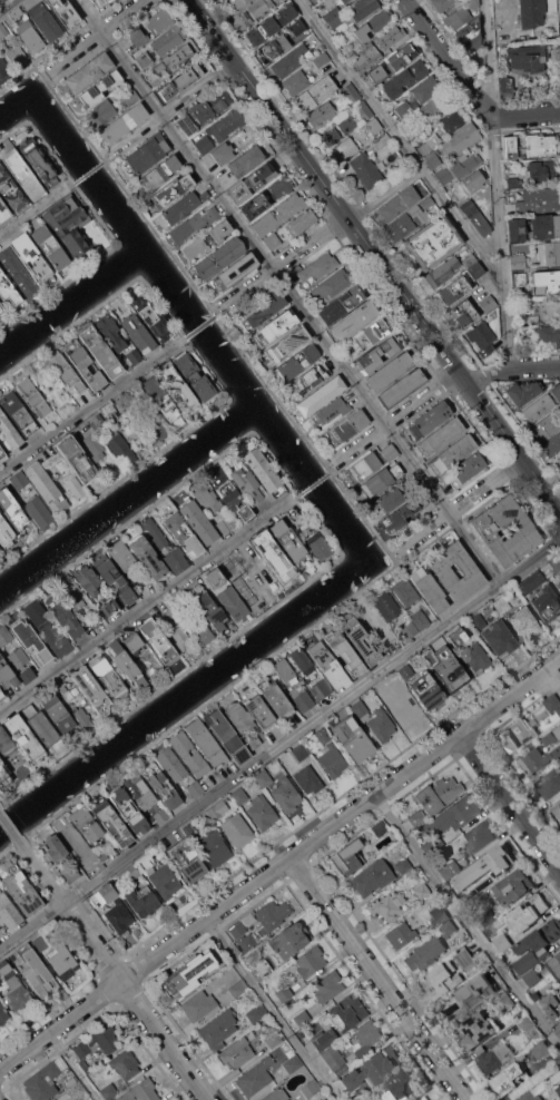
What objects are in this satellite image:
building: (311, 0)
building: (2, 1)
building: (344, 1)
building: (100, 2)
building: (237, 3)
building: (473, 3)
building: (442, 4)
road: (8, 6)
building: (362, 9)
building: (254, 11)
building: (16, 13)
building: (66, 13)
building: (531, 13)
building: (456, 17)
building: (334, 18)
building: (160, 19)
building: (381, 20)
building: (45, 21)
building: (271, 24)
building: (296, 27)
building: (3, 30)
road: (97, 33)
building: (362, 33)
building: (470, 33)
building: (527, 36)
building: (29, 37)
building: (137, 37)
building: (389, 38)
building: (167, 40)
building: (274, 47)
building: (321, 47)
building: (16, 56)
building: (402, 57)
building: (177, 58)
building: (365, 58)
road: (450, 58)
building: (527, 58)
building: (322, 59)
building: (144, 61)
building: (288, 61)
building: (3, 70)
building: (89, 72)
building: (376, 73)
road: (17, 75)
road: (51, 75)
building: (405, 78)
building: (181, 81)
building: (296, 82)
road: (197, 87)
building: (505, 87)
building: (426, 89)
building: (98, 90)
building: (351, 94)
building: (314, 96)
building: (131, 98)
building: (220, 99)
building: (403, 109)
building: (203, 110)
building: (430, 110)
building: (326, 111)
building: (363, 111)
road: (527, 114)
building: (100, 115)
building: (452, 120)
building: (124, 124)
building: (227, 124)
building: (346, 124)
building: (187, 125)
road: (11, 128)
building: (375, 128)
road: (135, 134)
building: (331, 137)
road: (396, 138)
building: (461, 138)
building: (240, 139)
building: (428, 144)
building: (204, 146)
building: (530, 146)
building: (345, 148)
building: (222, 154)
building: (147, 155)
road: (107, 156)
building: (433, 158)
building: (38, 160)
building: (247, 160)
building: (458, 167)
building: (366, 169)
building: (540, 170)
road: (89, 171)
building: (159, 173)
building: (22, 174)
road: (69, 179)
building: (250, 183)
building: (513, 183)
road: (497, 186)
building: (282, 187)
building: (465, 188)
building: (171, 190)
building: (11, 193)
building: (538, 200)
building: (399, 204)
building: (184, 206)
building: (254, 206)
building: (510, 207)
road: (36, 209)
building: (3, 212)
building: (278, 215)
road: (345, 218)
building: (475, 218)
building: (409, 220)
building: (303, 222)
building: (196, 223)
building: (68, 224)
building: (547, 225)
building: (517, 229)
building: (220, 230)
building: (273, 240)
building: (433, 240)
building: (50, 247)
building: (195, 248)
building: (228, 252)
building: (552, 253)
road: (374, 256)
building: (35, 258)
building: (470, 259)
building: (518, 262)
building: (208, 267)
building: (316, 268)
building: (475, 269)
building: (442, 272)
building: (18, 273)
building: (234, 273)
building: (519, 278)
building: (546, 281)
road: (57, 284)
building: (332, 285)
road: (247, 288)
building: (455, 289)
building: (8, 291)
road: (287, 291)
building: (488, 303)
building: (341, 304)
building: (1, 308)
building: (261, 308)
building: (549, 310)
road: (219, 311)
building: (464, 313)
building: (153, 317)
building: (354, 321)
road: (68, 325)
road: (200, 326)
building: (274, 327)
building: (375, 331)
building: (111, 333)
building: (138, 333)
building: (549, 335)
road: (181, 336)
building: (482, 338)
road: (238, 343)
building: (288, 344)
building: (351, 347)
building: (100, 352)
building: (379, 354)
building: (134, 356)
building: (297, 362)
building: (83, 364)
building: (62, 369)
building: (390, 371)
road: (512, 371)
building: (194, 376)
building: (312, 377)
building: (178, 386)
building: (402, 387)
building: (522, 391)
building: (556, 392)
building: (33, 396)
building: (130, 396)
building: (322, 396)
building: (160, 397)
road: (424, 397)
road: (91, 405)
building: (539, 407)
building: (112, 409)
building: (331, 410)
building: (18, 413)
building: (429, 420)
building: (98, 421)
building: (352, 425)
building: (157, 429)
building: (544, 429)
building: (9, 431)
building: (440, 435)
building: (552, 444)
building: (95, 446)
road: (360, 446)
building: (121, 449)
building: (390, 453)
building: (453, 453)
building: (2, 454)
building: (559, 459)
building: (469, 466)
building: (364, 468)
road: (332, 469)
building: (85, 470)
building: (265, 473)
building: (218, 475)
building: (19, 479)
building: (381, 480)
road: (114, 481)
building: (247, 483)
road: (314, 483)
building: (47, 487)
building: (76, 487)
road: (295, 492)
building: (205, 494)
building: (392, 498)
building: (234, 500)
road: (456, 505)
building: (12, 508)
building: (405, 511)
building: (39, 512)
building: (288, 519)
building: (198, 520)
road: (125, 522)
building: (226, 524)
building: (487, 530)
building: (155, 532)
building: (6, 533)
building: (183, 533)
building: (289, 544)
building: (320, 546)
building: (247, 548)
building: (0, 550)
road: (392, 553)
building: (122, 556)
building: (147, 556)
building: (176, 560)
building: (551, 566)
building: (469, 569)
building: (214, 577)
building: (114, 578)
building: (88, 580)
building: (265, 580)
building: (530, 582)
building: (559, 586)
building: (428, 588)
building: (71, 590)
building: (404, 590)
building: (253, 596)
road: (148, 601)
building: (187, 601)
building: (233, 603)
building: (547, 603)
building: (385, 605)
building: (503, 605)
building: (109, 608)
building: (209, 608)
building: (66, 618)
building: (420, 619)
building: (524, 621)
building: (479, 622)
building: (48, 628)
building: (410, 629)
building: (4, 635)
building: (204, 636)
building: (458, 636)
building: (158, 639)
building: (499, 639)
building: (31, 640)
building: (361, 640)
building: (135, 644)
building: (185, 644)
building: (443, 648)
building: (343, 651)
building: (425, 651)
building: (18, 657)
building: (475, 657)
building: (303, 661)
building: (126, 665)
building: (326, 665)
building: (284, 670)
building: (406, 671)
building: (451, 674)
building: (7, 675)
building: (28, 675)
building: (108, 677)
road: (171, 679)
road: (552, 681)
building: (395, 682)
building: (91, 689)
building: (320, 689)
building: (73, 690)
building: (429, 691)
building: (1, 695)
building: (302, 698)
building: (276, 699)
building: (552, 703)
building: (405, 708)
building: (259, 709)
building: (360, 709)
building: (58, 711)
road: (191, 711)
building: (85, 719)
building: (240, 719)
building: (381, 726)
building: (46, 730)
building: (518, 734)
building: (227, 736)
building: (324, 736)
building: (24, 737)
building: (552, 737)
building: (353, 738)
building: (252, 740)
building: (6, 743)
building: (206, 743)
road: (279, 743)
building: (301, 752)
building: (189, 754)
building: (333, 760)
building: (539, 760)
building: (173, 765)
building: (3, 774)
building: (264, 779)
building: (307, 779)
building: (549, 784)
building: (161, 786)
building: (139, 789)
building: (196, 789)
building: (286, 795)
building: (439, 795)
building: (239, 796)
road: (509, 802)
building: (557, 808)
building: (129, 811)
building: (217, 811)
building: (263, 813)
building: (458, 814)
building: (161, 816)
building: (416, 818)
road: (340, 819)
building: (112, 823)
building: (88, 824)
building: (381, 828)
building: (237, 829)
building: (188, 831)
road: (12, 832)
building: (70, 834)
building: (479, 837)
building: (432, 844)
building: (55, 846)
building: (214, 847)
building: (104, 857)
building: (88, 858)
building: (347, 858)
building: (502, 858)
building: (186, 861)
building: (144, 863)
building: (404, 866)
building: (451, 870)
building: (71, 874)
building: (128, 874)
road: (43, 876)
building: (373, 878)
building: (164, 881)
building: (512, 886)
building: (22, 890)
building: (468, 891)
building: (423, 892)
building: (143, 901)
building: (386, 906)
building: (112, 907)
building: (530, 911)
building: (9, 912)
building: (439, 915)
building: (272, 916)
building: (487, 919)
road: (468, 921)
building: (237, 929)
building: (449, 929)
building: (1, 933)
building: (400, 934)
building: (511, 934)
building: (289, 941)
building: (40, 942)
building: (247, 942)
building: (501, 942)
building: (537, 944)
building: (426, 952)
building: (206, 959)
building: (466, 960)
building: (311, 961)
building: (62, 962)
building: (554, 965)
building: (264, 969)
building: (38, 972)
road: (377, 978)
building: (532, 978)
building: (442, 979)
building: (181, 982)
building: (295, 986)
building: (328, 986)
building: (238, 988)
building: (14, 991)
building: (478, 992)
building: (284, 993)
road: (135, 1001)
building: (504, 1002)
building: (199, 1005)
building: (551, 1008)
road: (271, 1009)
building: (256, 1012)
building: (3, 1013)
building: (345, 1013)
building: (303, 1019)
road: (59, 1024)
building: (559, 1027)
building: (530, 1028)
building: (218, 1030)
building: (478, 1030)
building: (369, 1033)
building: (273, 1039)
building: (325, 1039)
building: (99, 1043)
building: (542, 1050)
building: (236, 1052)
building: (493, 1057)
building: (334, 1058)
building: (83, 1063)
building: (125, 1063)
building: (292, 1063)
road: (75, 1065)
building: (374, 1068)
building: (256, 1077)
building: (509, 1079)
building: (42, 1082)
building: (400, 1087)
building: (311, 1088)
building: (558, 1088)
building: (75, 1091)
building: (109, 1091)
building: (140, 1091)
building: (534, 1091)
building: (276, 1094)
building: (423, 1098)
building: (363, 1099)

